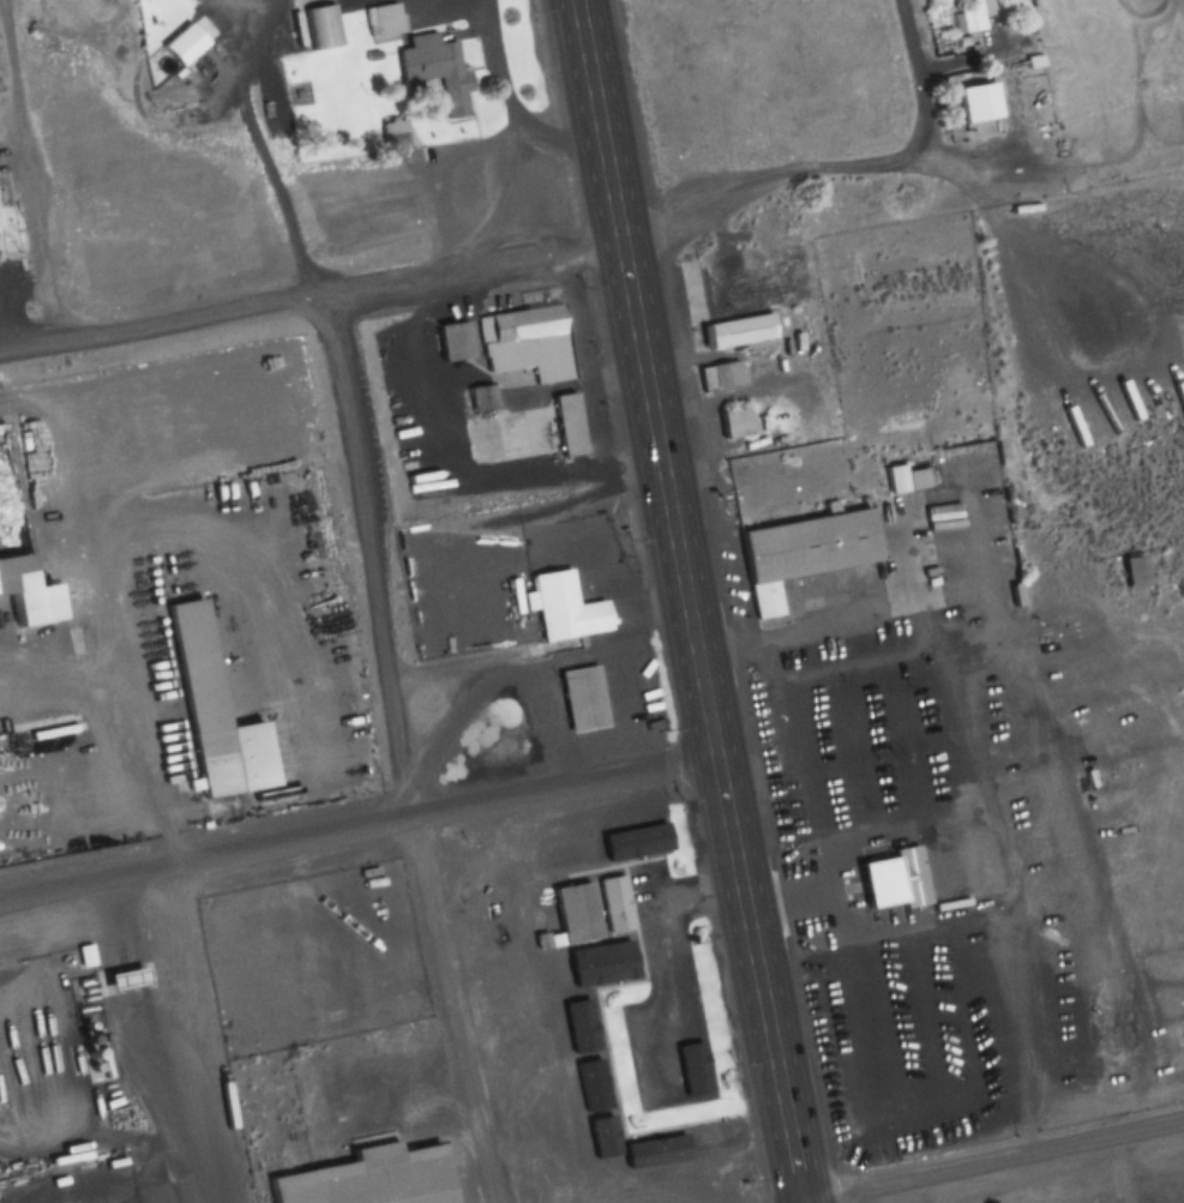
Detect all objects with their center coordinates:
road: (1182, 10)
building: (972, 16)
building: (381, 22)
building: (319, 26)
building: (435, 68)
road: (918, 82)
building: (976, 110)
road: (897, 164)
road: (26, 182)
building: (1, 215)
road: (1005, 242)
road: (465, 261)
building: (18, 296)
road: (155, 321)
building: (735, 332)
building: (525, 339)
building: (451, 342)
building: (719, 375)
building: (477, 399)
building: (734, 423)
building: (566, 426)
building: (889, 480)
road: (365, 551)
building: (800, 554)
building: (1130, 571)
building: (18, 589)
building: (552, 600)
road: (687, 601)
road: (121, 621)
building: (831, 686)
building: (921, 691)
building: (575, 692)
building: (204, 704)
building: (898, 720)
road: (565, 782)
building: (631, 844)
road: (206, 856)
building: (892, 883)
building: (613, 904)
building: (371, 914)
building: (573, 914)
building: (603, 964)
road: (452, 1007)
building: (585, 1019)
road: (198, 1034)
building: (593, 1082)
building: (603, 1141)
building: (680, 1149)
road: (1000, 1161)
building: (360, 1175)

